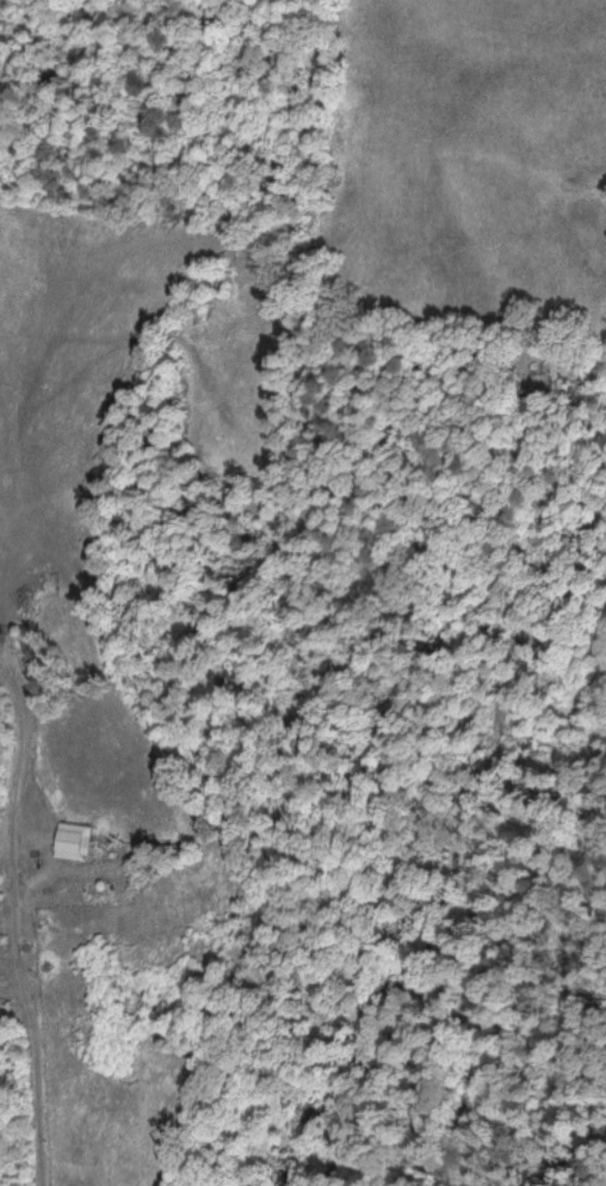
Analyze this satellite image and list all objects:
building: (69, 838)
road: (10, 926)

